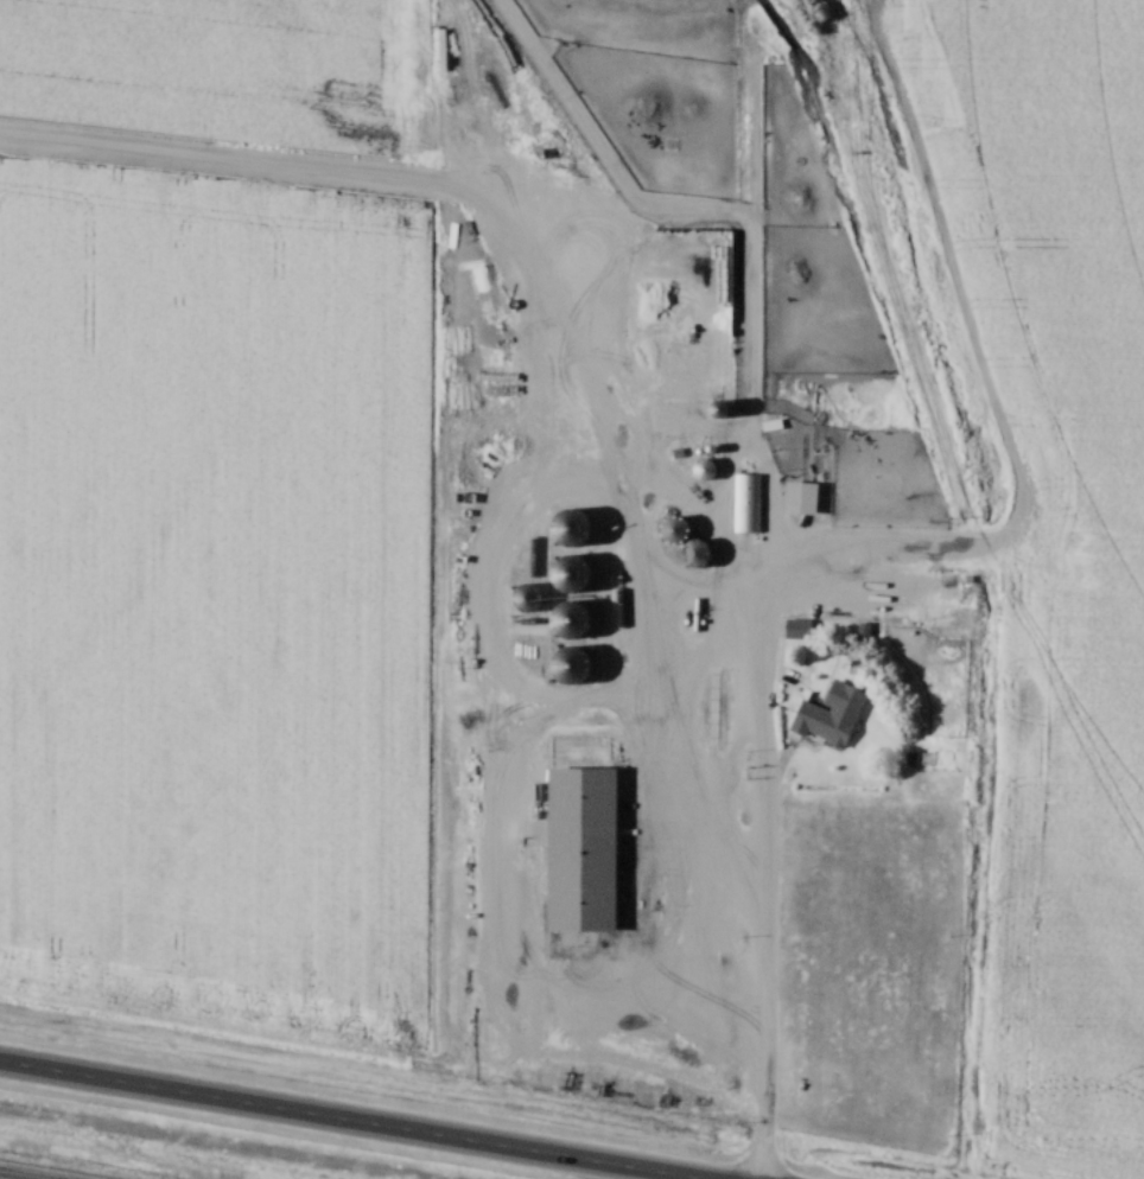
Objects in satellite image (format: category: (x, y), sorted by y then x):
building: (445, 273)
building: (800, 499)
building: (745, 505)
building: (568, 529)
building: (672, 529)
building: (566, 575)
crop: (218, 593)
building: (567, 618)
building: (830, 715)
building: (579, 849)
road: (351, 1120)
railway: (13, 1177)

